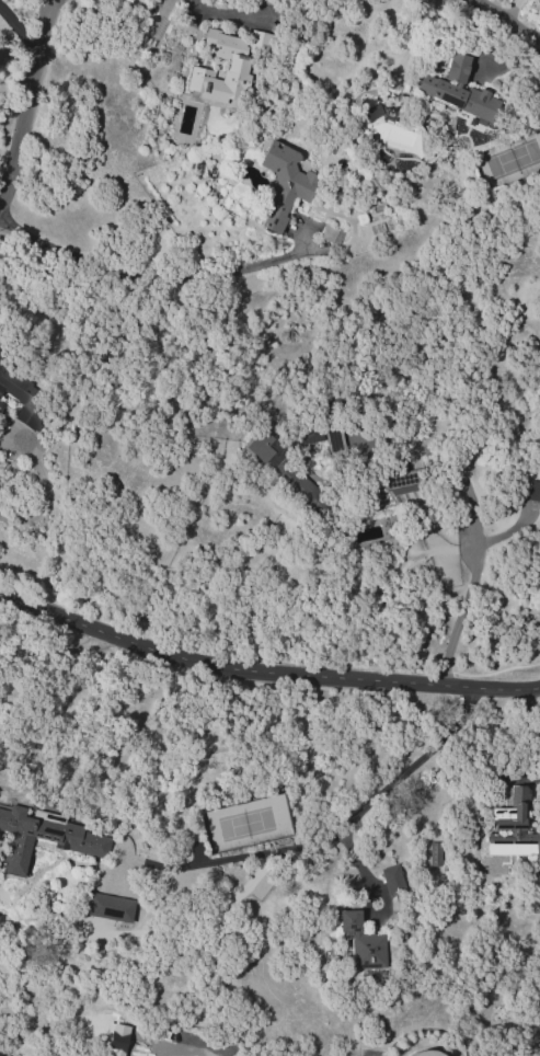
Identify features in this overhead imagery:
road: (53, 2)
road: (222, 12)
road: (506, 21)
road: (20, 33)
building: (225, 66)
building: (457, 90)
road: (30, 101)
building: (370, 108)
building: (284, 183)
road: (161, 274)
building: (0, 352)
building: (22, 393)
building: (0, 403)
building: (303, 437)
building: (333, 439)
building: (290, 475)
building: (398, 480)
building: (532, 491)
road: (44, 496)
road: (473, 542)
road: (54, 650)
road: (263, 674)
building: (512, 828)
road: (330, 835)
building: (44, 837)
building: (433, 852)
building: (392, 879)
building: (108, 907)
building: (361, 942)
building: (425, 1053)

